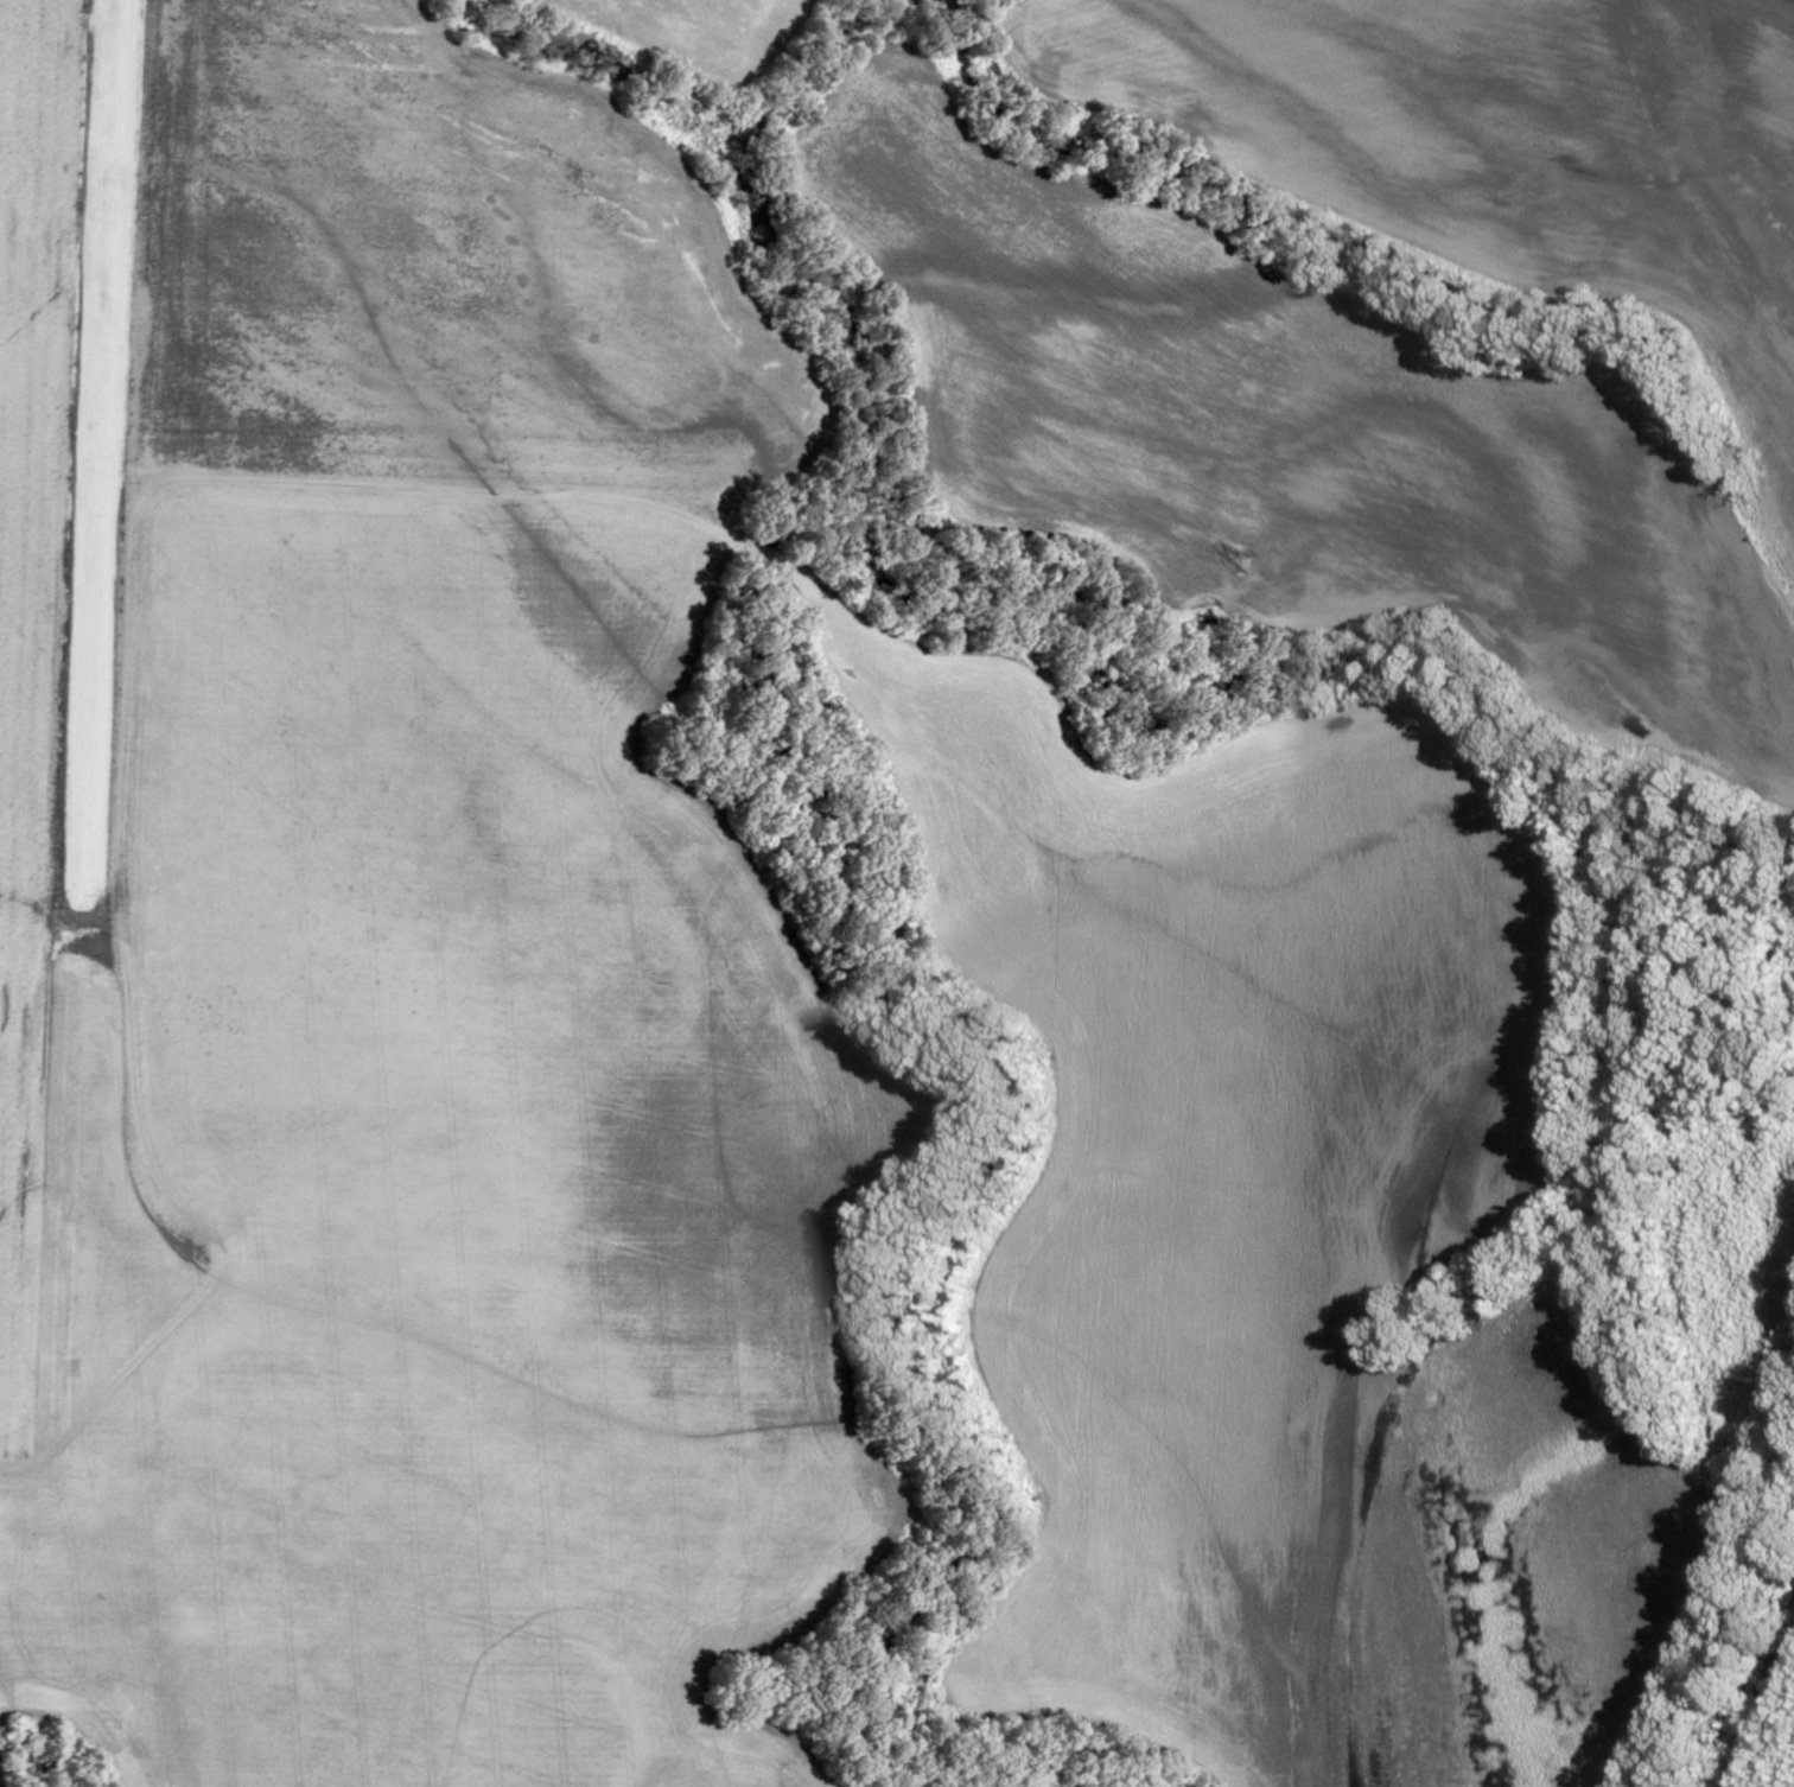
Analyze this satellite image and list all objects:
airport runway: (88, 449)

